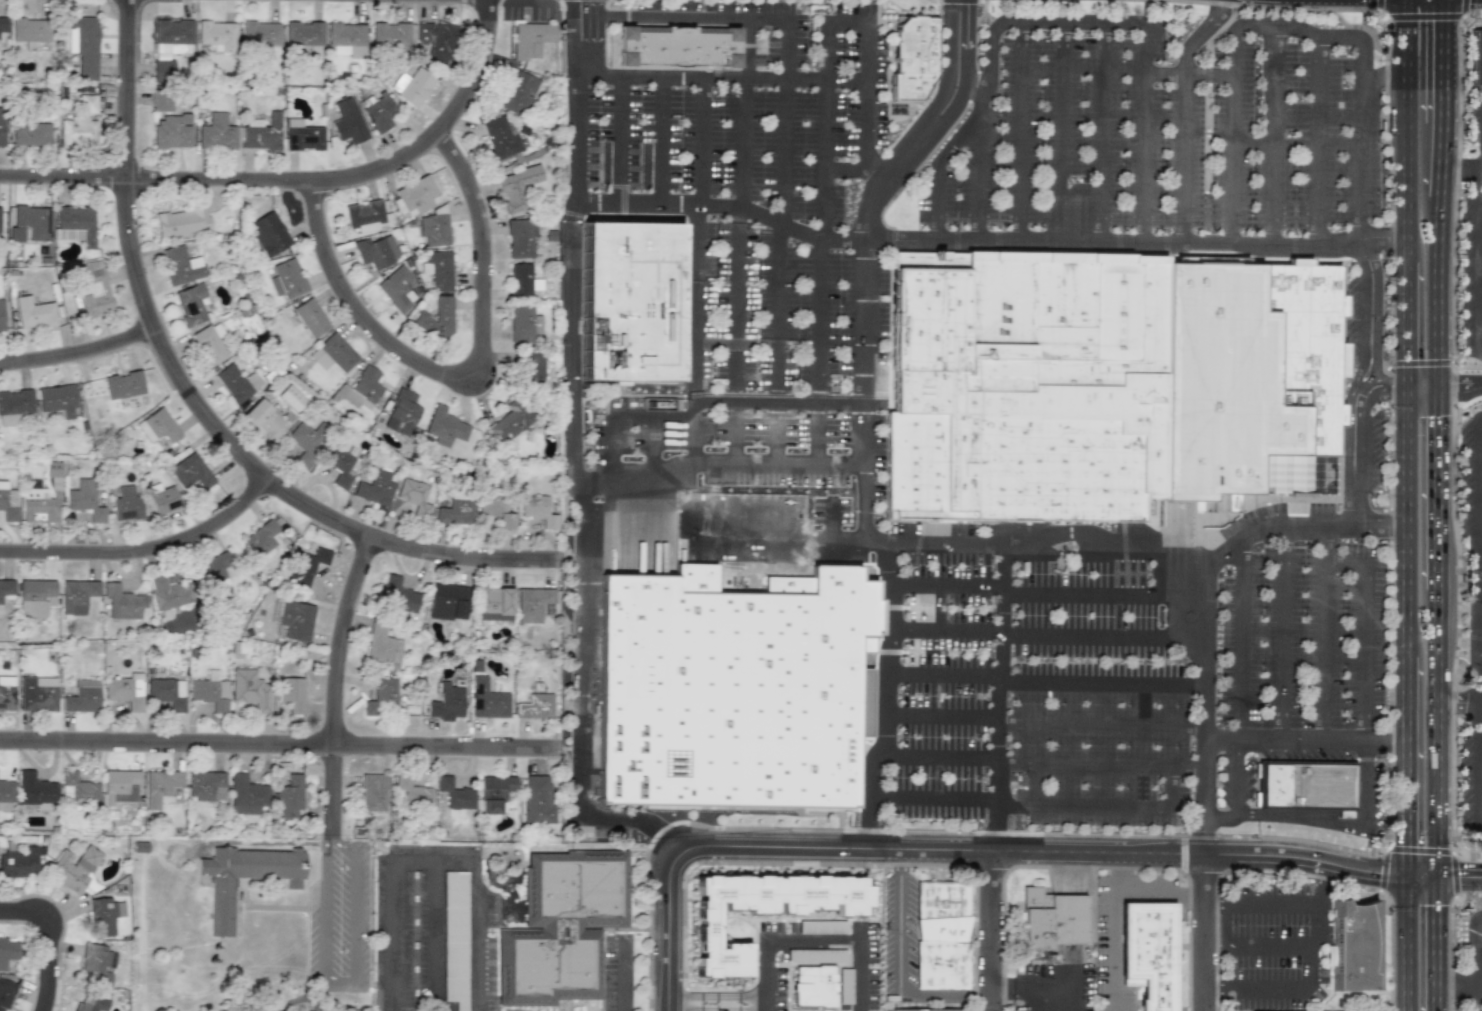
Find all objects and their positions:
road: (689, 14)
road: (848, 18)
building: (2, 24)
building: (29, 30)
building: (260, 33)
building: (303, 33)
building: (389, 35)
road: (591, 35)
building: (217, 36)
road: (571, 36)
building: (346, 39)
building: (531, 39)
building: (435, 41)
building: (83, 44)
building: (169, 45)
building: (674, 45)
building: (912, 58)
road: (1446, 59)
building: (1478, 61)
road: (949, 64)
road: (965, 69)
road: (1230, 69)
road: (717, 74)
building: (411, 86)
building: (518, 92)
road: (863, 94)
building: (162, 101)
building: (378, 113)
road: (1185, 113)
road: (744, 114)
building: (347, 121)
road: (787, 121)
building: (79, 124)
building: (1, 125)
parking lot: (1477, 125)
road: (828, 129)
road: (1402, 131)
building: (172, 132)
building: (262, 132)
road: (1273, 132)
building: (216, 133)
building: (30, 134)
building: (302, 135)
road: (618, 136)
road: (1317, 136)
road: (658, 137)
building: (499, 138)
road: (700, 138)
road: (1357, 138)
road: (1444, 158)
road: (940, 166)
road: (859, 169)
road: (1463, 169)
road: (980, 173)
road: (890, 178)
road: (1017, 178)
road: (1056, 180)
road: (1101, 182)
road: (1147, 185)
road: (295, 186)
building: (517, 186)
building: (415, 196)
road: (1480, 202)
road: (702, 203)
building: (363, 215)
building: (183, 219)
building: (30, 223)
building: (75, 224)
building: (0, 230)
building: (434, 230)
building: (267, 233)
road: (1480, 234)
building: (520, 237)
road: (1051, 239)
road: (699, 240)
road: (847, 240)
building: (375, 250)
road: (1480, 261)
building: (181, 265)
building: (438, 269)
road: (1478, 275)
building: (286, 278)
building: (521, 279)
parking lot: (1470, 280)
building: (395, 288)
road: (1440, 291)
building: (95, 294)
road: (1480, 294)
building: (190, 303)
building: (638, 303)
road: (739, 307)
parking lot: (785, 312)
building: (34, 313)
road: (778, 313)
building: (1, 316)
building: (310, 317)
building: (436, 317)
building: (251, 322)
road: (820, 322)
building: (523, 324)
road: (1480, 324)
road: (1402, 325)
road: (694, 344)
building: (332, 353)
road: (1480, 355)
road: (75, 359)
building: (530, 366)
building: (236, 382)
road: (1460, 383)
building: (123, 384)
road: (1421, 386)
building: (360, 388)
building: (1027, 390)
road: (468, 397)
building: (290, 398)
building: (56, 399)
building: (15, 406)
road: (187, 406)
road: (696, 410)
building: (400, 412)
road: (1479, 414)
building: (509, 419)
building: (263, 420)
building: (157, 426)
building: (444, 427)
road: (1479, 437)
building: (307, 440)
road: (1476, 454)
building: (338, 465)
road: (1479, 465)
building: (52, 468)
building: (191, 472)
road: (734, 479)
road: (777, 479)
parking lot: (783, 480)
road: (816, 480)
road: (653, 482)
road: (1439, 487)
parking lot: (1469, 487)
building: (375, 488)
road: (585, 489)
building: (413, 496)
road: (1478, 497)
building: (84, 499)
building: (164, 500)
building: (8, 503)
building: (1231, 503)
building: (126, 504)
building: (37, 507)
building: (454, 510)
building: (494, 510)
building: (535, 510)
road: (1403, 523)
road: (1478, 526)
building: (262, 540)
road: (1139, 540)
road: (1322, 544)
road: (782, 556)
road: (1479, 557)
road: (142, 562)
road: (1344, 564)
building: (306, 565)
building: (215, 566)
road: (946, 585)
building: (6, 587)
building: (168, 593)
road: (1110, 594)
building: (77, 595)
building: (397, 595)
building: (35, 597)
building: (447, 601)
building: (122, 602)
building: (493, 603)
building: (531, 603)
building: (296, 620)
parking lot: (1302, 624)
road: (1058, 632)
road: (1284, 634)
road: (1238, 640)
building: (382, 646)
road: (1481, 657)
road: (887, 669)
road: (1046, 675)
parking lot: (943, 676)
road: (1480, 682)
road: (329, 689)
building: (728, 689)
building: (125, 690)
building: (250, 690)
building: (209, 691)
building: (6, 692)
building: (37, 693)
building: (291, 693)
building: (165, 695)
road: (1481, 695)
building: (82, 697)
road: (1002, 697)
building: (381, 698)
building: (486, 700)
parking lot: (1093, 700)
road: (1459, 702)
building: (445, 703)
building: (535, 706)
road: (1044, 718)
road: (1204, 718)
road: (1438, 734)
road: (1480, 735)
road: (1285, 742)
road: (277, 744)
road: (1385, 744)
road: (1043, 758)
road: (1402, 768)
road: (1480, 769)
road: (1238, 778)
road: (1213, 781)
building: (119, 786)
building: (206, 786)
building: (1309, 786)
building: (160, 787)
building: (34, 789)
building: (77, 789)
building: (372, 792)
building: (494, 792)
building: (412, 793)
building: (246, 794)
building: (455, 794)
building: (6, 795)
building: (289, 797)
building: (536, 800)
road: (1008, 800)
road: (1480, 801)
road: (1313, 820)
road: (335, 841)
road: (961, 850)
road: (433, 858)
building: (18, 861)
building: (74, 867)
traffic signals: (1402, 878)
road: (1420, 878)
traffic signals: (1438, 879)
road: (1459, 879)
building: (226, 893)
road: (1255, 900)
building: (763, 910)
building: (104, 915)
building: (1052, 919)
building: (562, 927)
road: (436, 928)
road: (990, 931)
road: (1202, 931)
building: (941, 935)
building: (454, 938)
road: (792, 941)
road: (1402, 944)
road: (1438, 945)
road: (43, 947)
road: (1243, 949)
road: (900, 950)
building: (7, 951)
building: (1355, 951)
building: (1148, 953)
building: (816, 956)
building: (96, 963)
road: (1477, 965)
road: (1310, 973)
road: (625, 977)
road: (338, 979)
road: (1256, 982)
road: (861, 983)
building: (814, 986)
road: (1035, 987)
building: (5, 991)
road: (717, 997)
building: (90, 1002)
road: (727, 1003)
road: (764, 1007)
road: (716, 1008)
building: (925, 1009)

